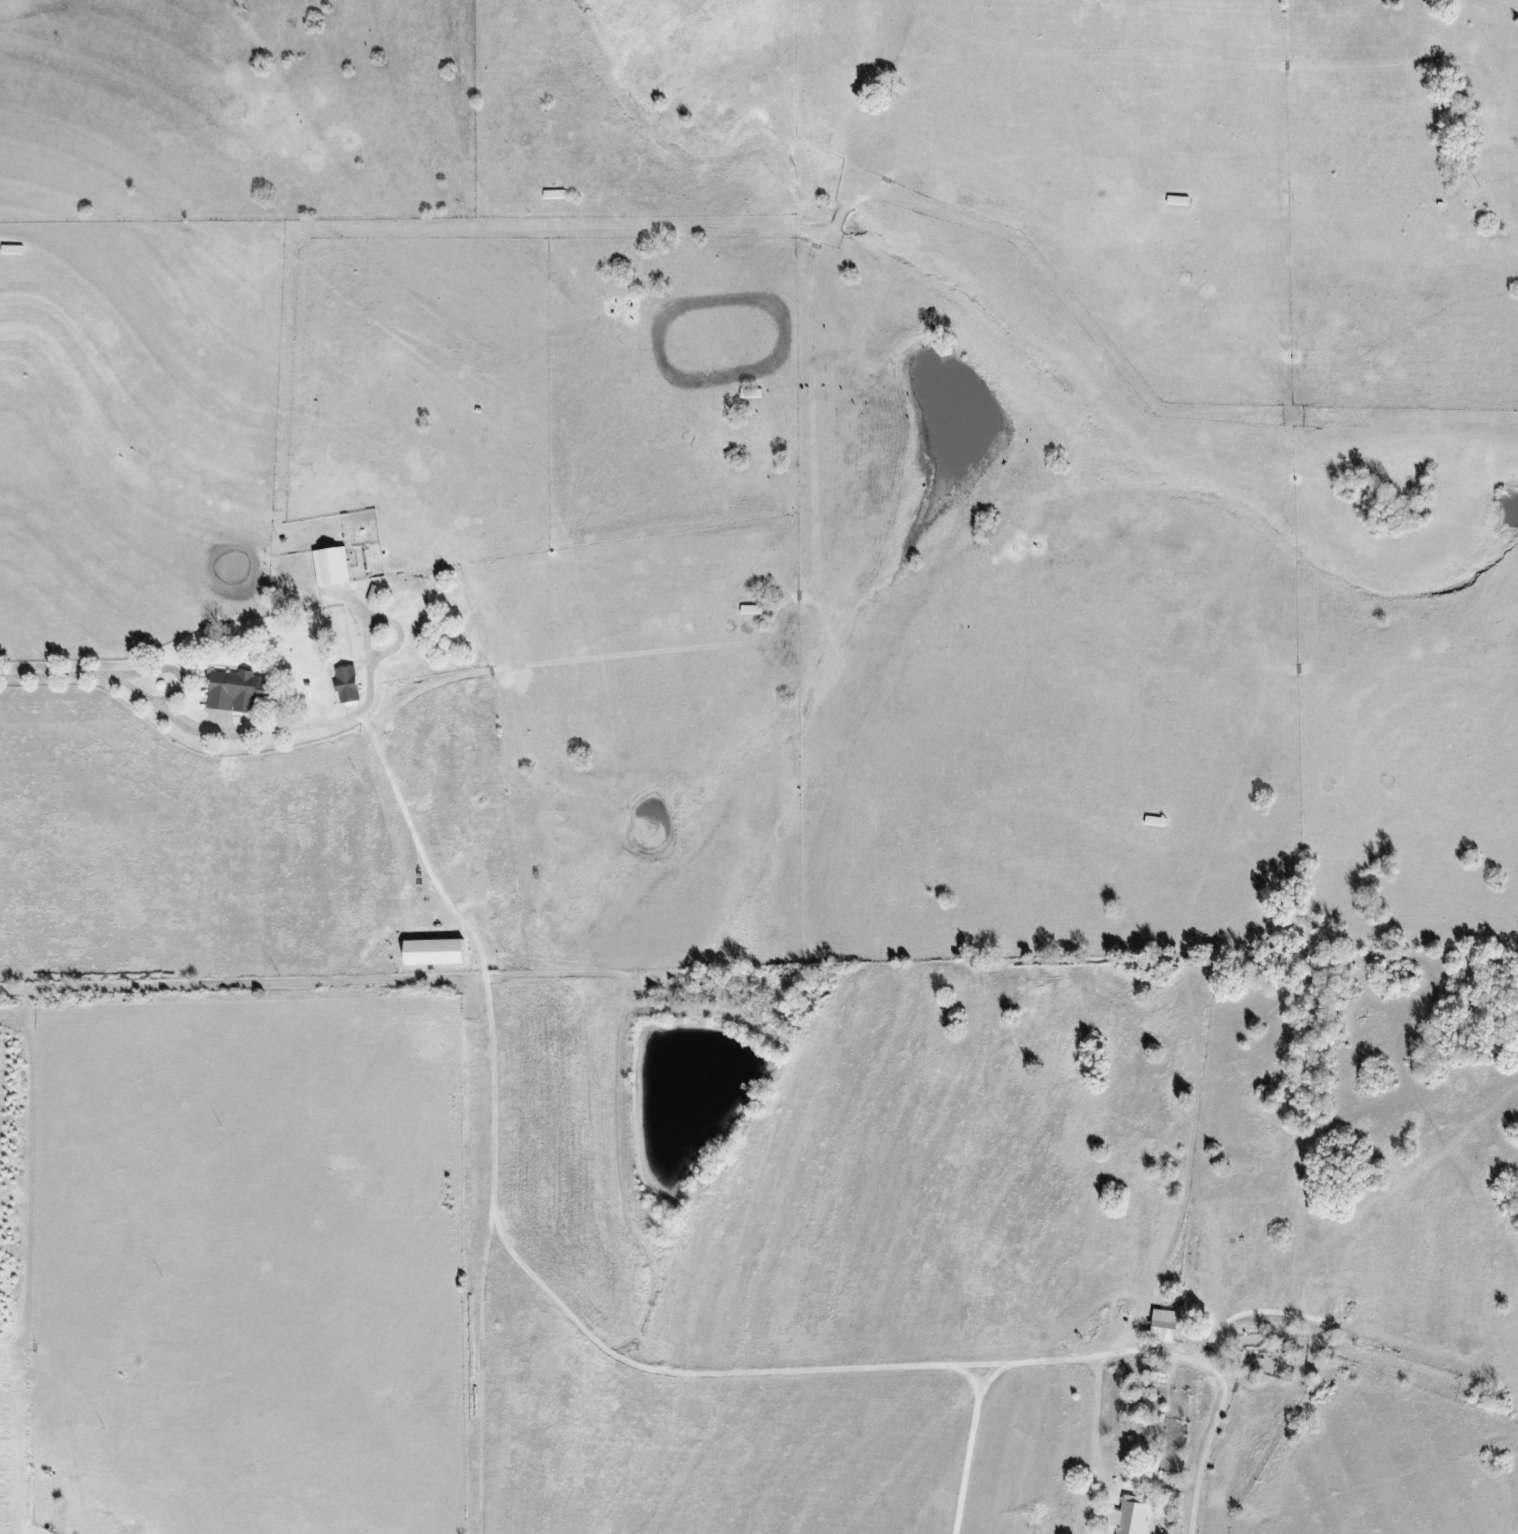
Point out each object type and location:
building: (331, 567)
building: (750, 610)
building: (346, 685)
building: (239, 692)
road: (225, 727)
building: (432, 952)
road: (539, 1280)
building: (1163, 1326)
road: (1199, 1464)
building: (1128, 1516)

